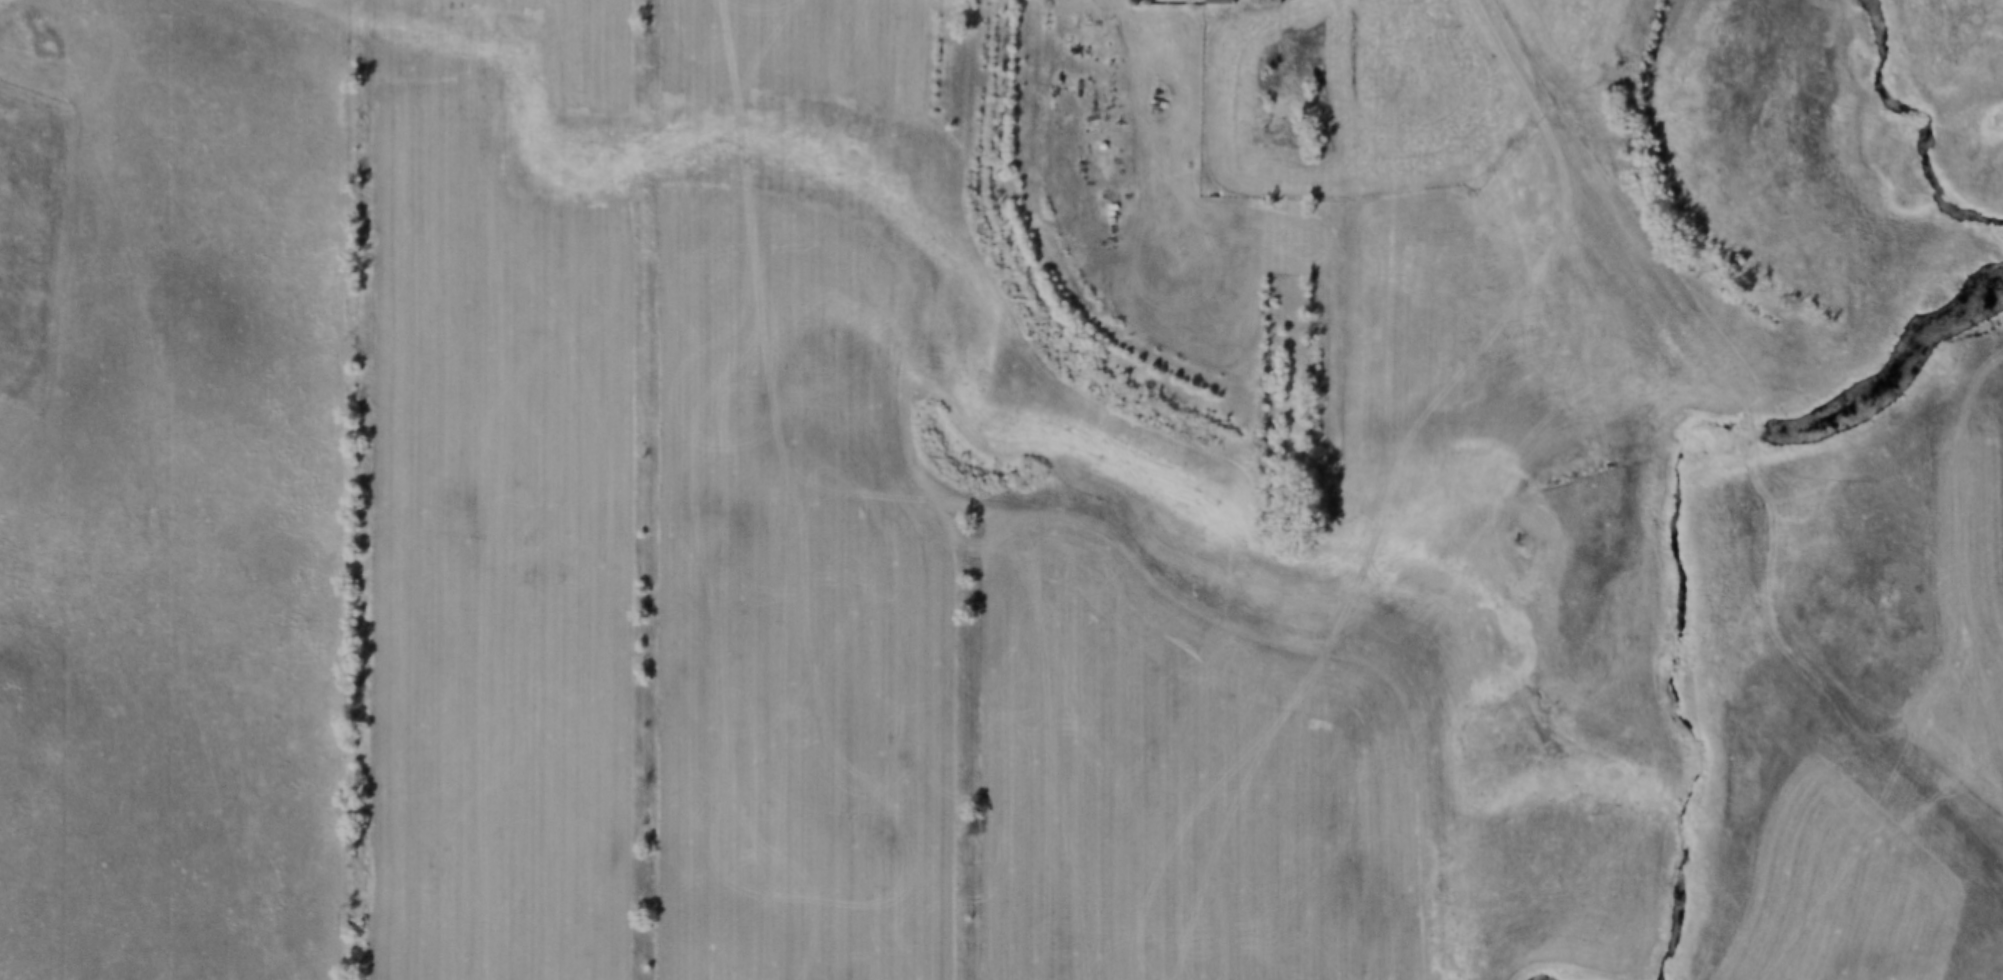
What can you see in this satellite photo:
building: (1263, 0)
building: (1218, 2)
road: (1883, 437)
road: (1751, 453)
road: (1744, 835)

